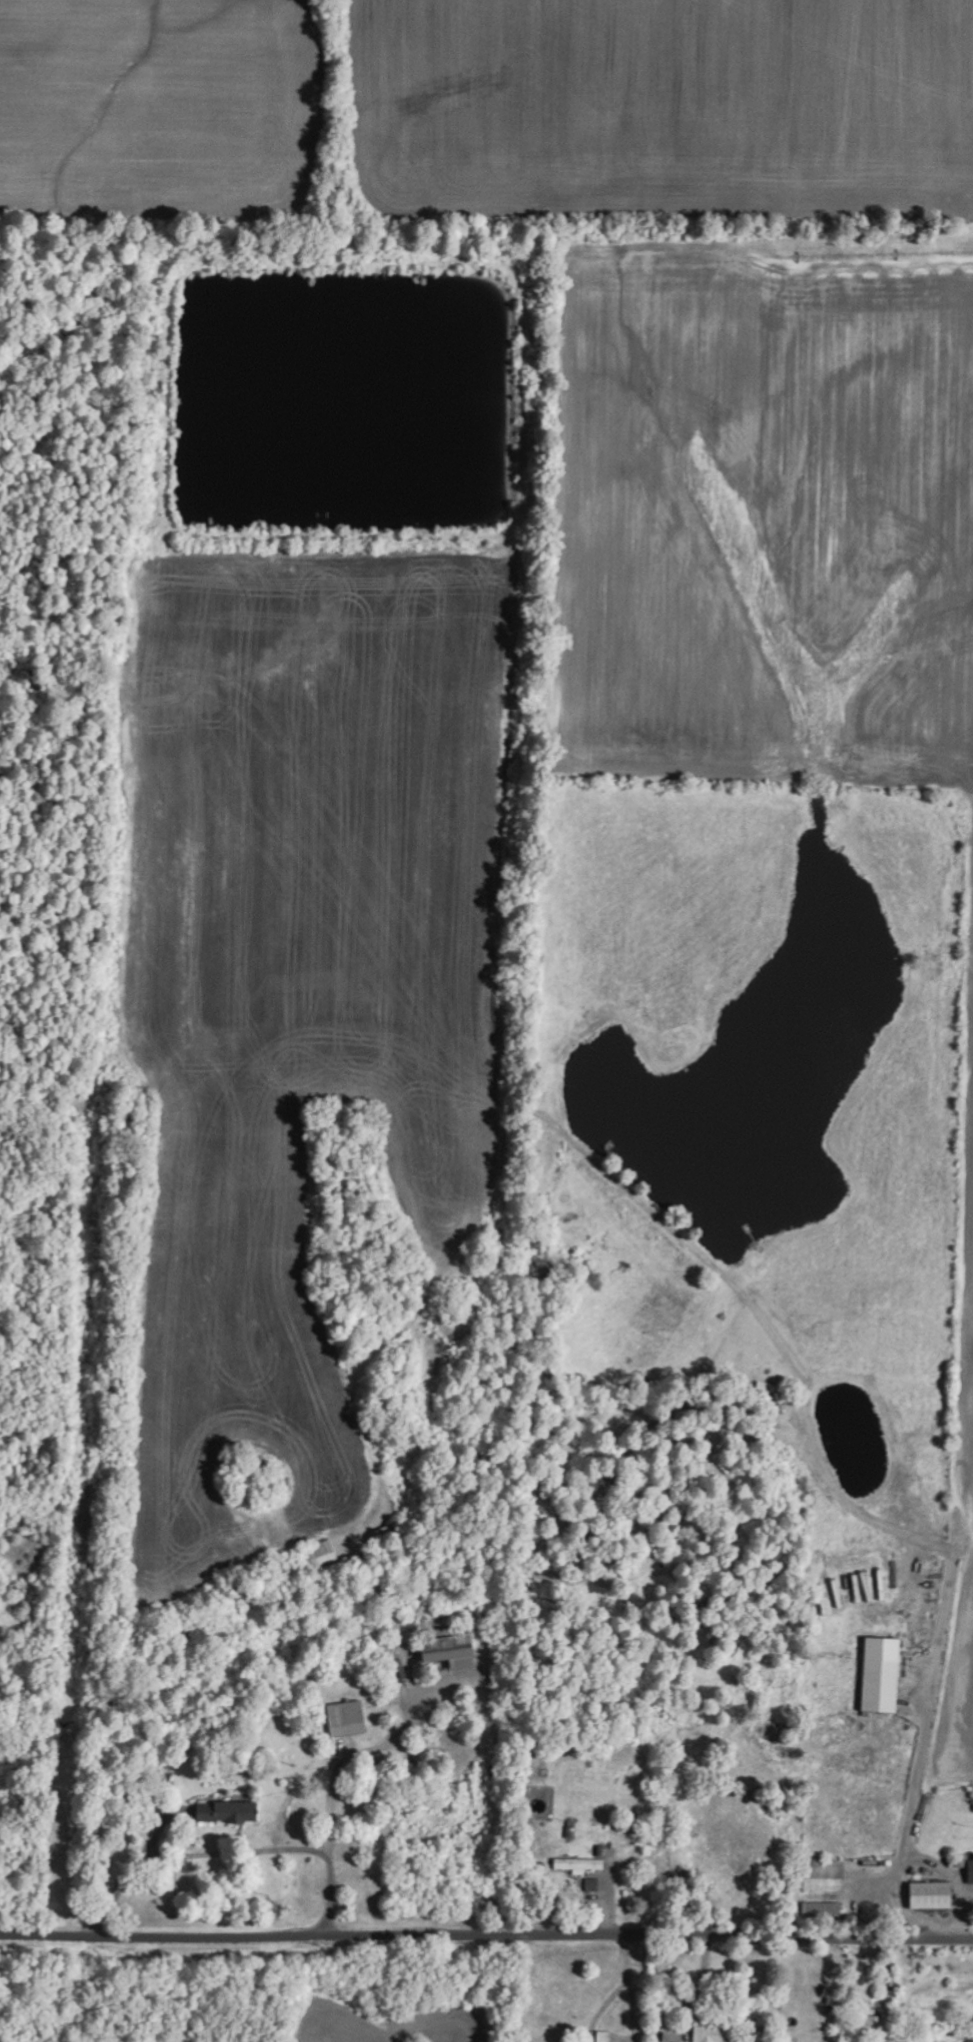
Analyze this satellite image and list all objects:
building: (884, 1675)
building: (346, 1718)
building: (229, 1812)
building: (581, 1864)
building: (971, 1871)
building: (593, 1885)
building: (934, 1895)
road: (486, 1938)
building: (713, 2034)

